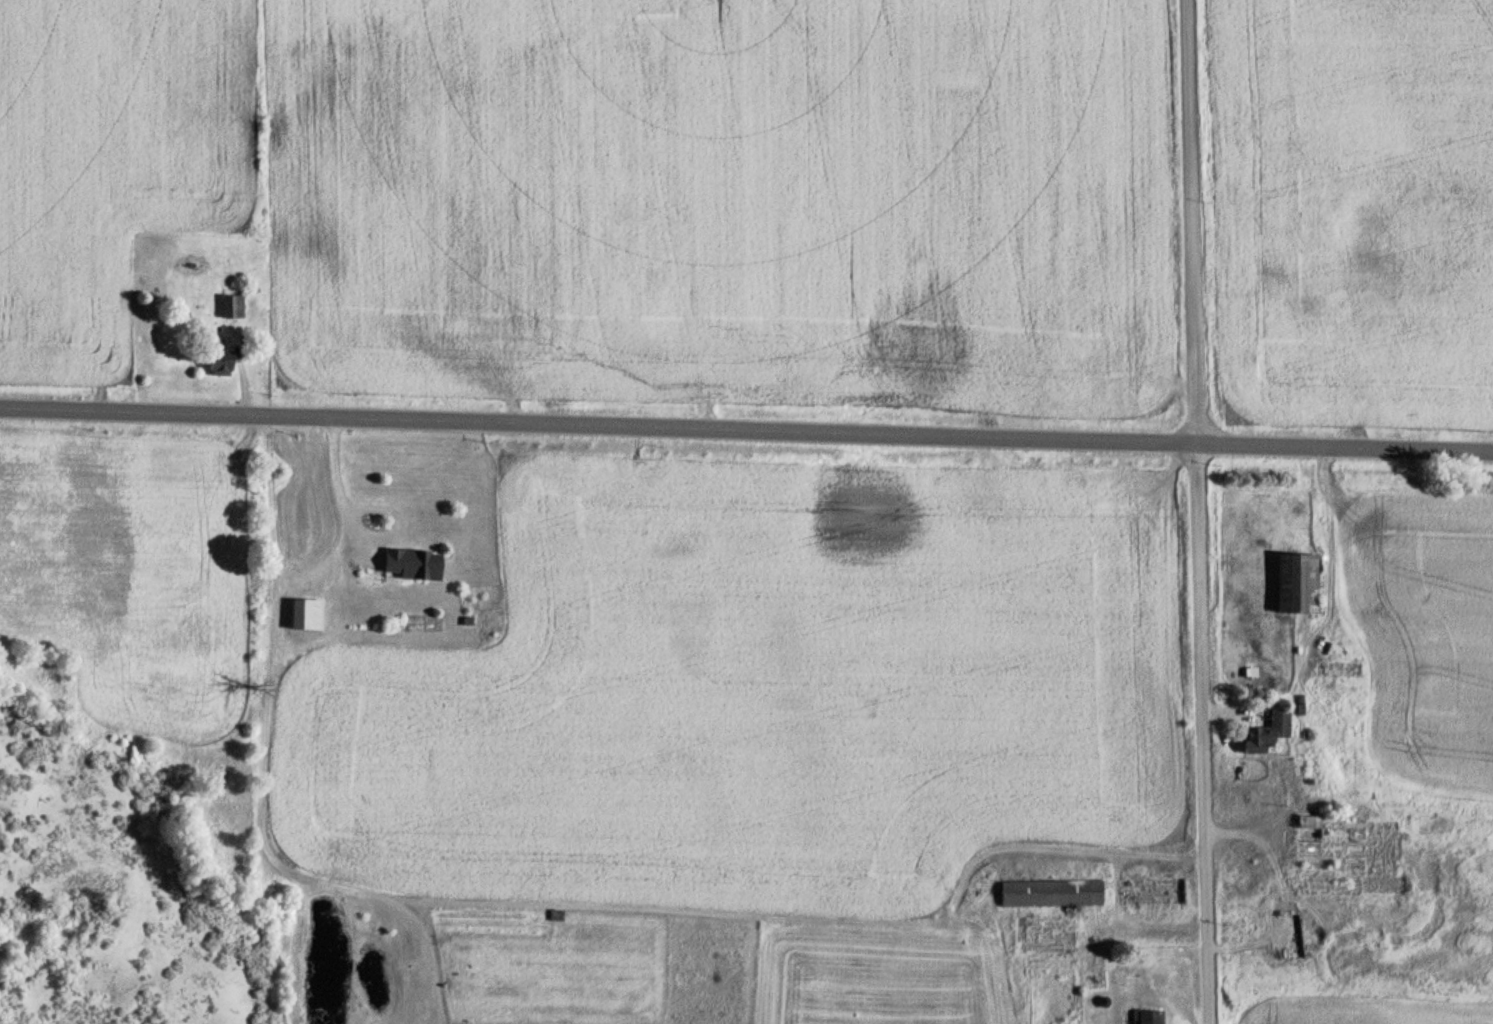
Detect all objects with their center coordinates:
building: (233, 306)
building: (220, 361)
road: (746, 425)
road: (1197, 511)
building: (412, 564)
building: (1298, 583)
building: (1267, 732)
building: (1332, 842)
building: (1052, 893)
road: (354, 963)
building: (1147, 1017)

